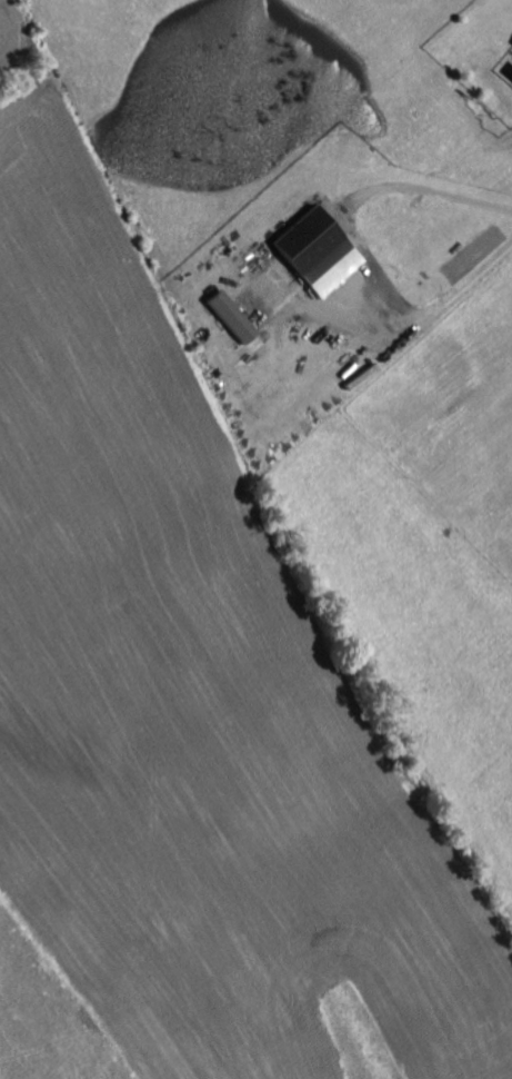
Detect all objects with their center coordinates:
building: (315, 250)
building: (229, 316)

